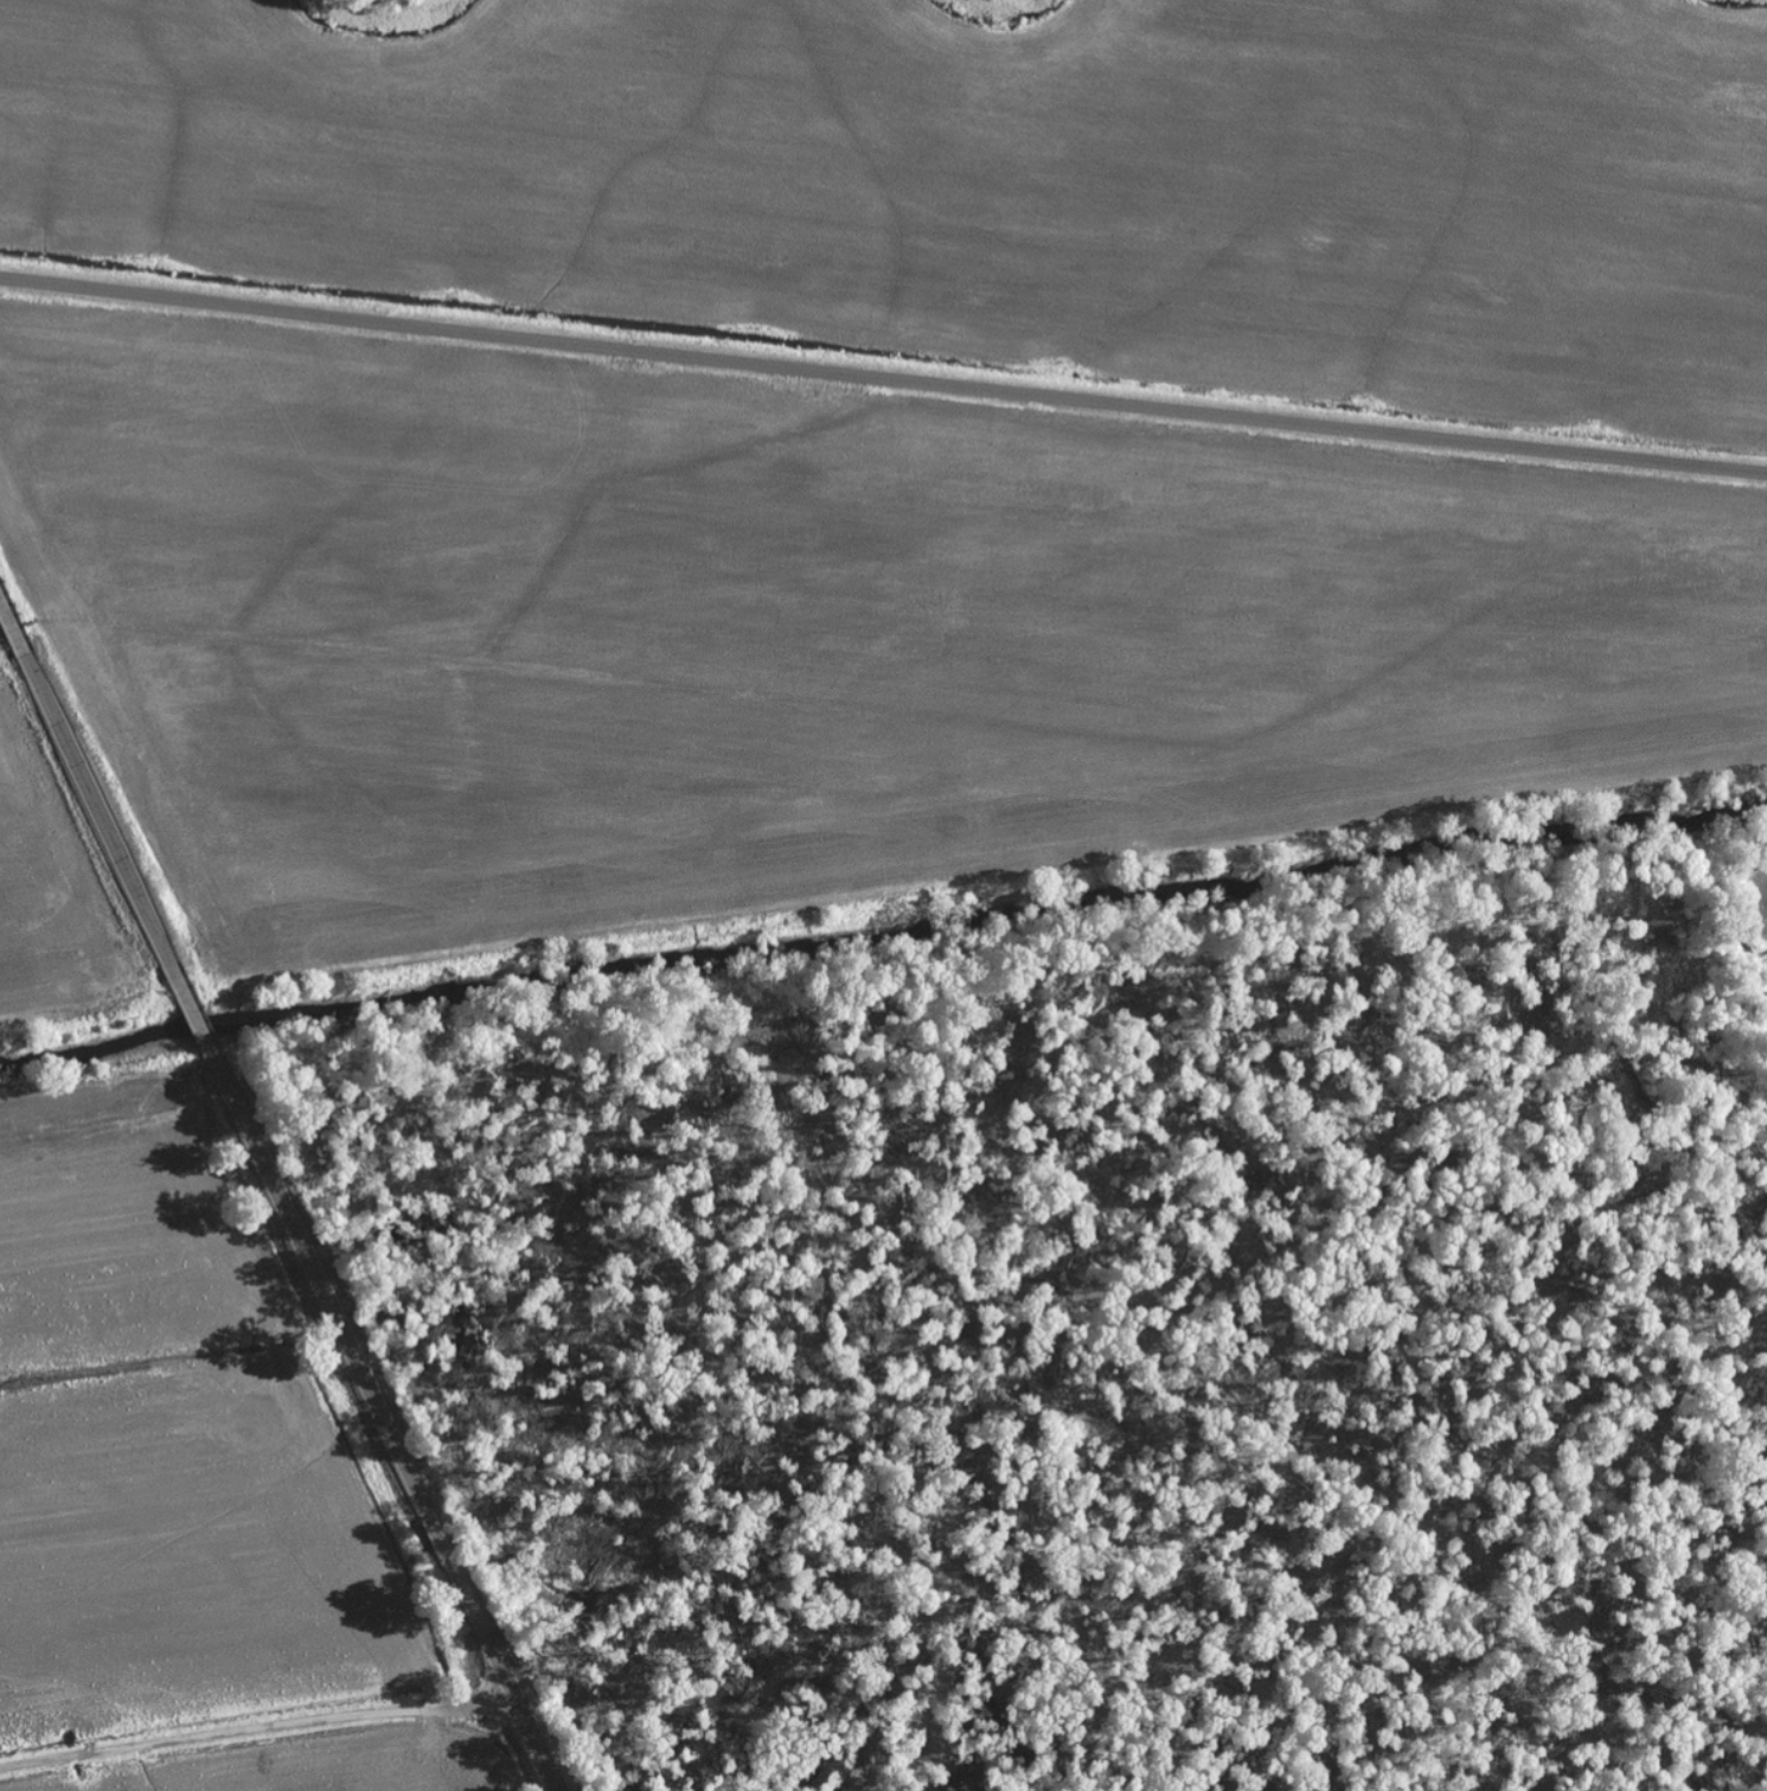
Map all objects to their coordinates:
road: (883, 380)
road: (277, 1196)

